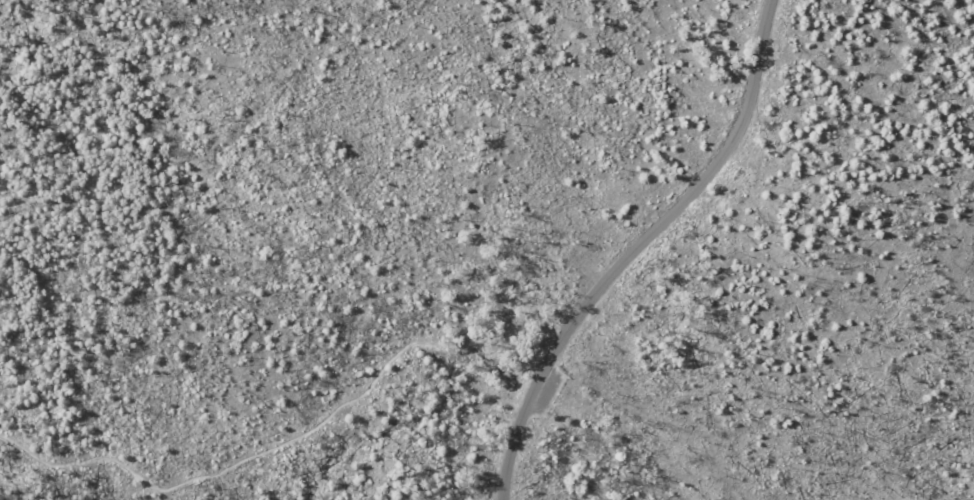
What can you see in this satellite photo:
road: (634, 248)
park: (487, 250)
road: (281, 439)

